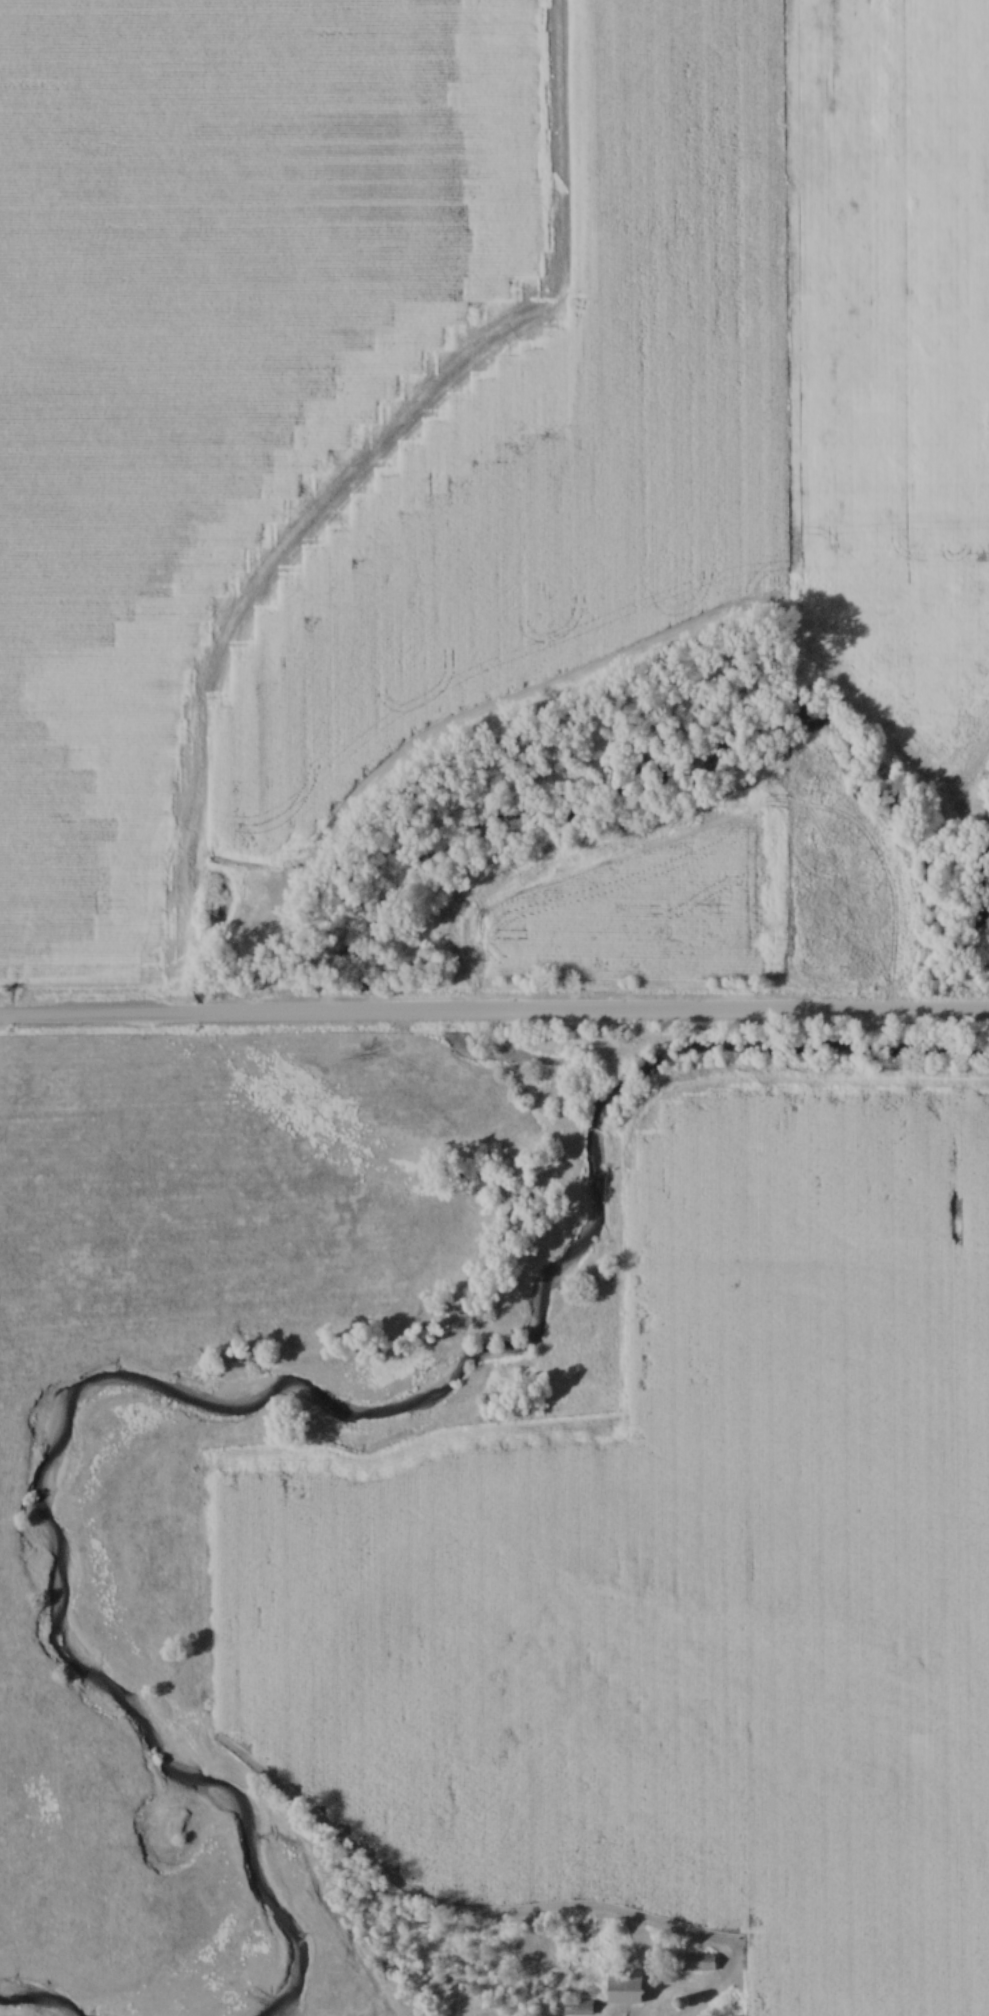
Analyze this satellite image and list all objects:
road: (494, 1013)
river: (265, 1392)
building: (697, 1963)
building: (623, 1987)
river: (40, 1996)
building: (578, 2009)

